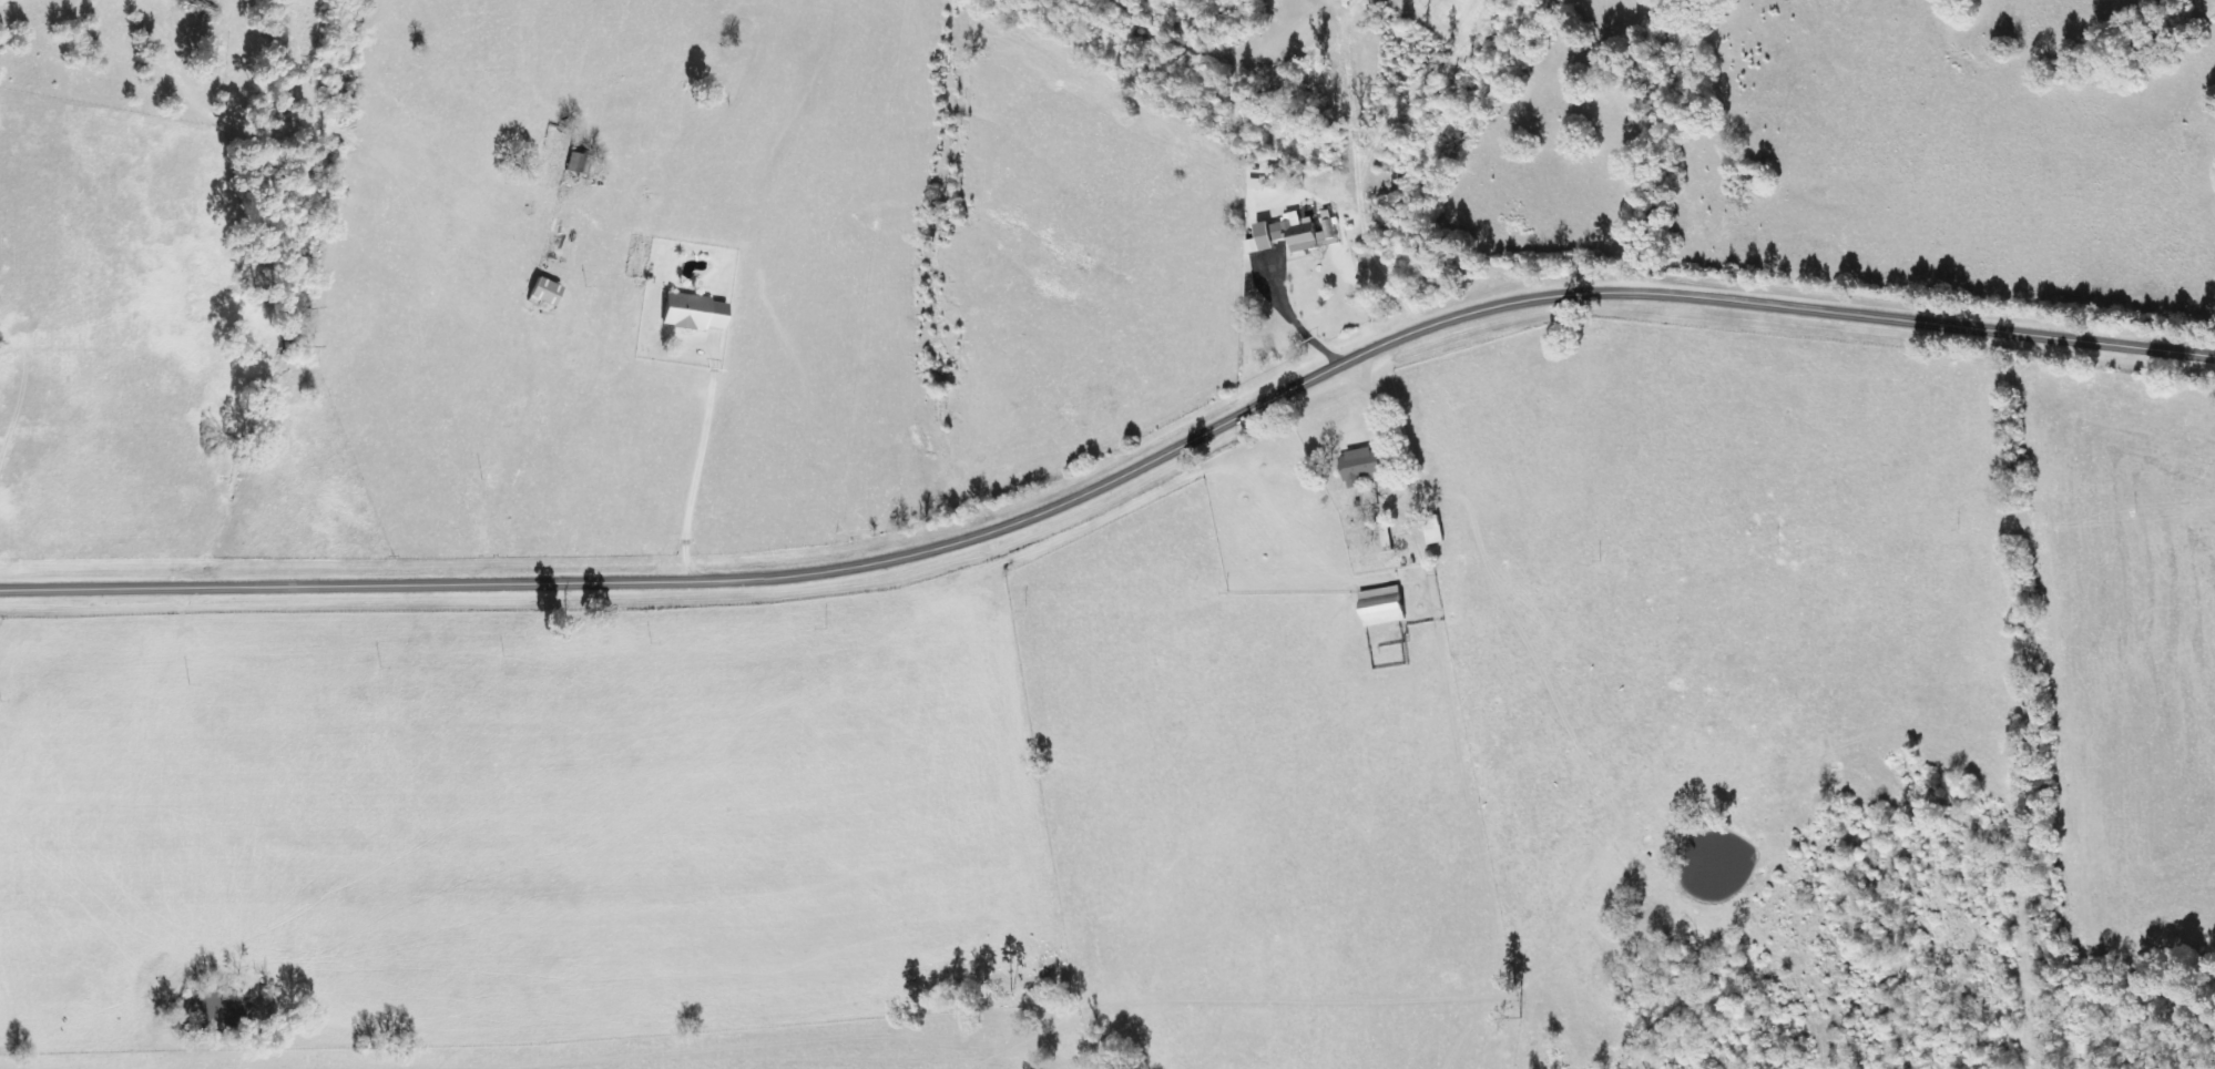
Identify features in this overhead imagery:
building: (578, 164)
building: (1256, 183)
building: (1293, 233)
building: (544, 293)
building: (694, 313)
building: (1360, 466)
road: (1120, 475)
building: (1382, 538)
building: (1381, 605)

